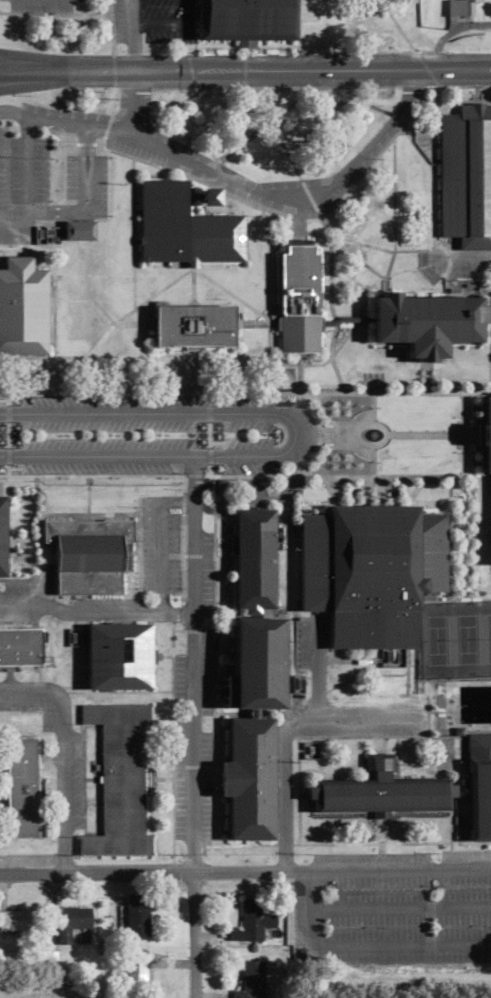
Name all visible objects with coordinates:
building: (460, 7)
building: (246, 19)
road: (26, 63)
road: (245, 69)
road: (41, 79)
road: (131, 102)
building: (465, 174)
road: (233, 181)
building: (184, 225)
road: (188, 280)
road: (144, 290)
road: (242, 296)
building: (299, 297)
building: (22, 305)
building: (428, 319)
building: (195, 324)
road: (266, 325)
road: (344, 341)
road: (141, 342)
road: (343, 354)
road: (437, 373)
road: (245, 391)
building: (488, 432)
road: (20, 433)
road: (443, 433)
road: (221, 434)
road: (297, 434)
road: (460, 435)
fountain: (382, 436)
road: (91, 475)
road: (342, 479)
building: (2, 533)
building: (87, 552)
building: (254, 556)
building: (371, 569)
road: (94, 613)
park: (462, 640)
building: (20, 645)
building: (119, 655)
building: (258, 663)
road: (354, 716)
road: (191, 726)
road: (62, 756)
building: (249, 778)
building: (118, 779)
building: (478, 785)
building: (21, 787)
building: (381, 793)
road: (285, 794)
road: (245, 872)
building: (136, 916)
building: (74, 917)
building: (18, 919)
building: (251, 921)
building: (251, 978)

